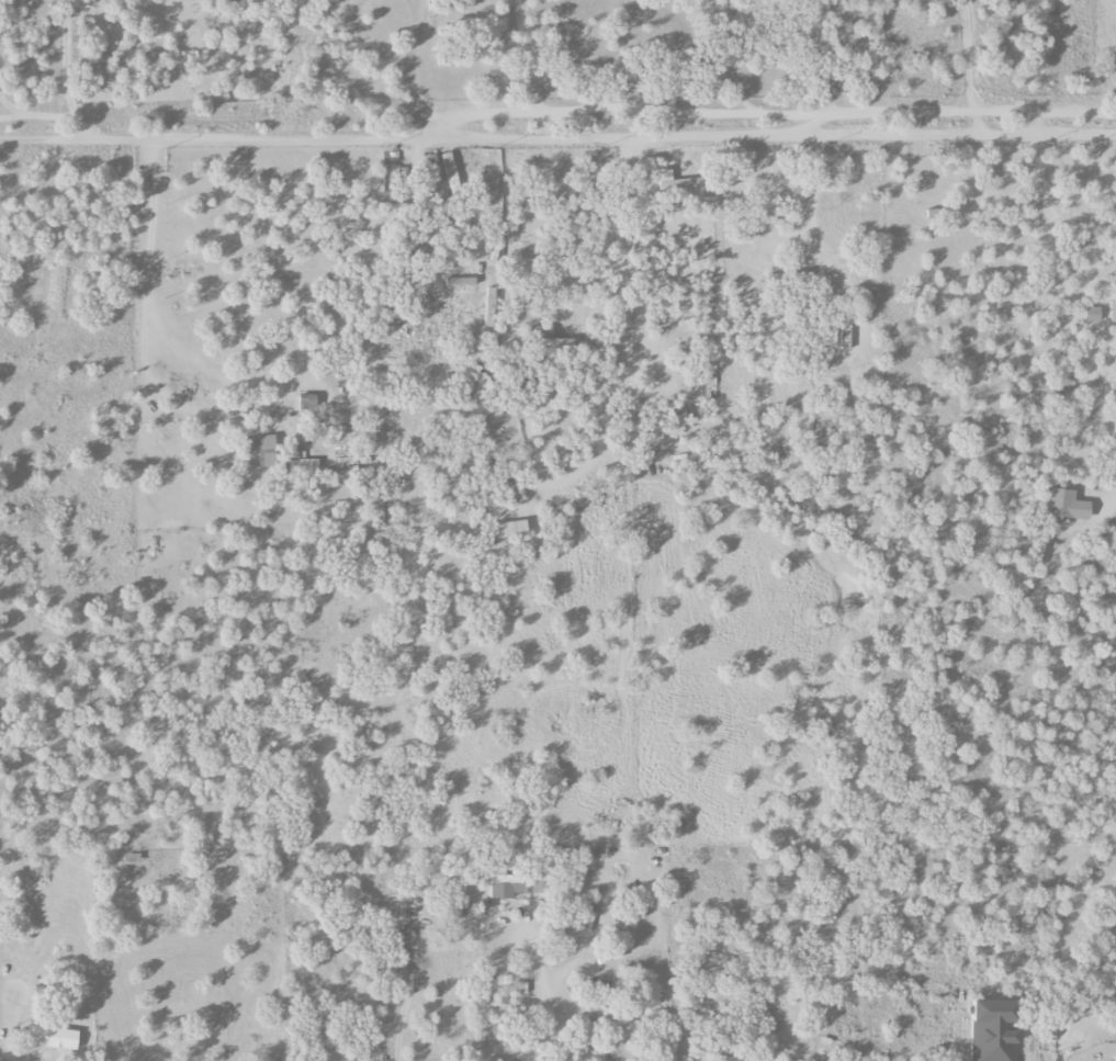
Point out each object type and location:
building: (226, 4)
road: (415, 32)
road: (367, 44)
road: (966, 56)
road: (525, 57)
road: (714, 59)
road: (59, 72)
road: (415, 101)
road: (770, 113)
road: (556, 138)
building: (449, 171)
building: (488, 177)
building: (684, 189)
road: (145, 268)
building: (777, 279)
building: (460, 282)
building: (1113, 312)
building: (1092, 314)
building: (845, 335)
building: (549, 339)
building: (1113, 394)
building: (306, 402)
building: (678, 413)
building: (259, 450)
building: (306, 464)
building: (348, 465)
building: (1066, 505)
building: (514, 883)
road: (543, 984)
building: (519, 987)
building: (494, 1001)
building: (993, 1030)
building: (53, 1037)
road: (1096, 1051)
road: (791, 1052)
road: (7, 1053)
building: (739, 1059)

